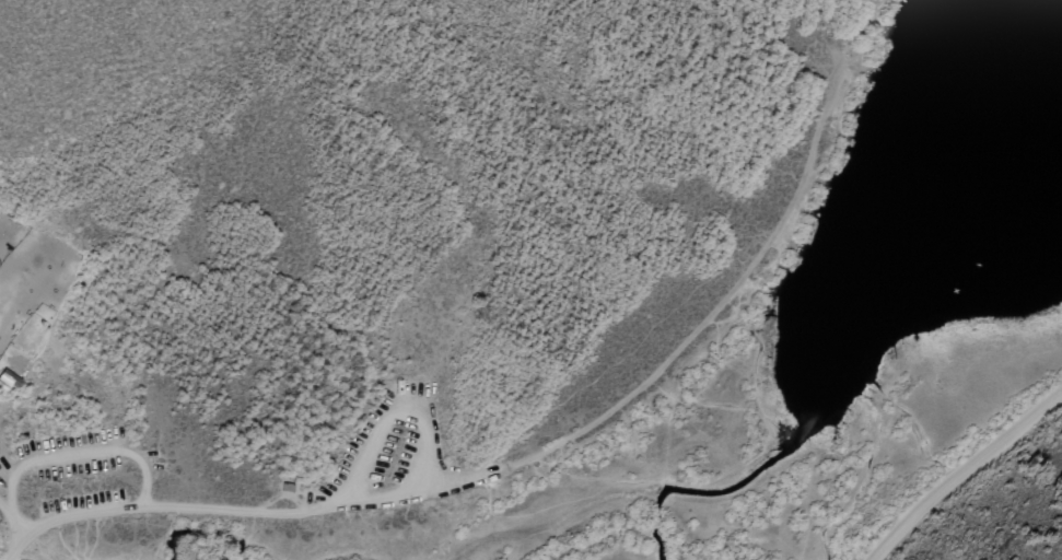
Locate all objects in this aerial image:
road: (855, 36)
road: (689, 296)
road: (686, 342)
building: (8, 378)
road: (389, 423)
road: (69, 454)
parking lot: (386, 454)
parking lot: (70, 455)
road: (965, 472)
building: (287, 487)
parking lot: (78, 501)
road: (5, 511)
road: (206, 512)

